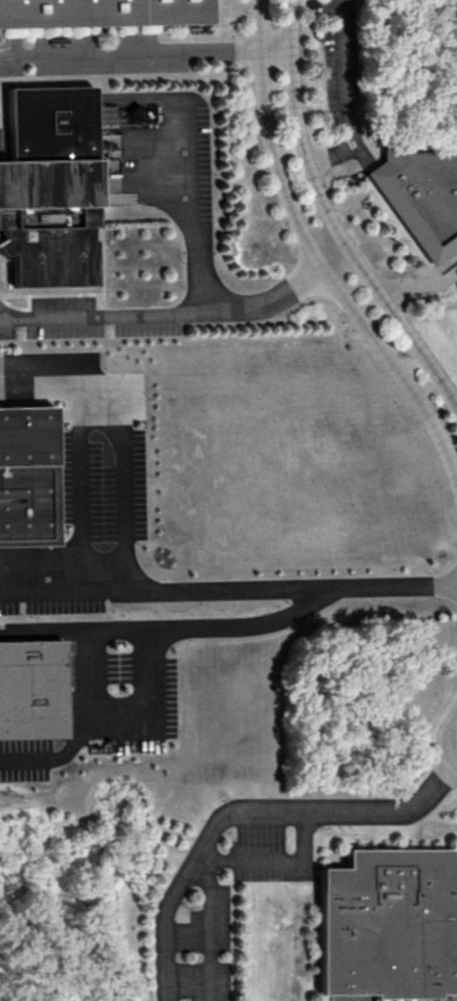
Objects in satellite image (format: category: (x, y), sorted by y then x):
building: (101, 13)
road: (276, 50)
parking lot: (95, 57)
road: (130, 57)
parking lot: (343, 62)
road: (349, 99)
parking lot: (170, 160)
building: (49, 188)
building: (421, 197)
road: (194, 210)
road: (330, 218)
road: (316, 254)
road: (336, 258)
road: (168, 316)
road: (2, 317)
parking lot: (8, 326)
road: (119, 436)
building: (26, 477)
road: (80, 482)
parking lot: (104, 483)
road: (290, 588)
road: (62, 593)
parking lot: (52, 601)
road: (242, 626)
road: (74, 630)
parking lot: (119, 669)
building: (31, 690)
parking lot: (167, 694)
road: (122, 734)
road: (451, 741)
parking lot: (26, 760)
road: (251, 816)
parking lot: (266, 857)
road: (272, 860)
parking lot: (207, 925)
building: (388, 925)
road: (211, 930)
parking lot: (202, 982)

